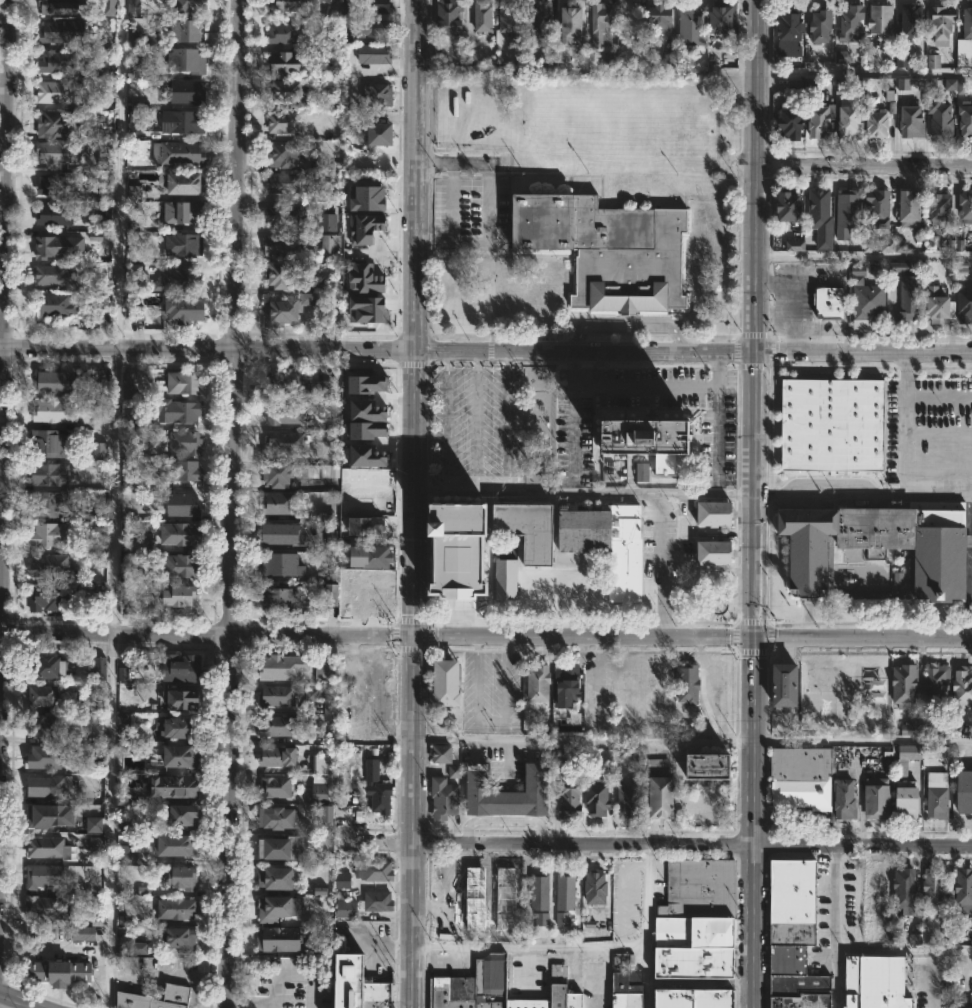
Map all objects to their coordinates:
building: (290, 5)
building: (63, 6)
building: (133, 6)
building: (189, 6)
building: (374, 6)
building: (110, 7)
building: (484, 17)
building: (511, 18)
building: (660, 18)
building: (541, 19)
building: (724, 19)
building: (882, 19)
building: (450, 20)
building: (853, 22)
building: (943, 22)
building: (572, 23)
building: (912, 23)
building: (968, 23)
building: (693, 26)
building: (821, 26)
building: (371, 27)
building: (790, 29)
building: (185, 30)
building: (63, 31)
building: (604, 31)
building: (283, 32)
building: (133, 37)
building: (374, 53)
building: (963, 53)
building: (668, 60)
building: (56, 61)
building: (186, 61)
building: (550, 61)
building: (932, 61)
building: (283, 64)
building: (136, 71)
road: (864, 73)
building: (795, 85)
building: (955, 85)
building: (842, 87)
building: (59, 91)
building: (288, 91)
building: (186, 92)
building: (379, 94)
building: (134, 117)
building: (822, 119)
building: (967, 119)
building: (942, 120)
building: (792, 121)
building: (913, 121)
building: (186, 122)
building: (284, 122)
building: (851, 122)
building: (56, 123)
building: (879, 124)
building: (382, 134)
building: (58, 153)
building: (179, 153)
building: (282, 155)
building: (104, 160)
road: (864, 167)
road: (118, 174)
building: (182, 183)
building: (55, 184)
building: (287, 184)
building: (134, 192)
building: (378, 193)
building: (821, 206)
building: (792, 207)
building: (853, 207)
building: (881, 208)
building: (911, 208)
building: (966, 209)
building: (941, 210)
building: (183, 212)
building: (56, 214)
building: (283, 214)
building: (327, 222)
road: (486, 224)
building: (364, 228)
building: (330, 243)
building: (184, 244)
building: (794, 245)
building: (886, 245)
building: (59, 246)
building: (283, 246)
building: (605, 249)
road: (864, 256)
building: (136, 271)
building: (53, 275)
building: (280, 275)
building: (179, 277)
building: (363, 278)
building: (322, 285)
building: (906, 291)
road: (5, 293)
building: (308, 299)
building: (866, 299)
building: (831, 303)
building: (58, 305)
building: (965, 305)
building: (941, 306)
building: (367, 309)
building: (186, 310)
building: (135, 311)
building: (281, 312)
road: (234, 317)
road: (414, 317)
road: (755, 318)
road: (626, 326)
road: (486, 350)
building: (55, 382)
building: (185, 383)
building: (367, 384)
building: (286, 385)
building: (128, 386)
road: (646, 388)
building: (322, 389)
building: (539, 399)
building: (181, 411)
building: (53, 412)
building: (99, 413)
building: (284, 413)
building: (366, 420)
road: (445, 421)
road: (476, 421)
road: (506, 421)
building: (830, 425)
road: (572, 429)
road: (715, 433)
building: (646, 441)
building: (185, 442)
building: (48, 444)
building: (284, 444)
road: (899, 449)
building: (98, 450)
building: (365, 456)
building: (180, 470)
building: (641, 472)
building: (297, 473)
building: (52, 475)
road: (114, 491)
road: (584, 492)
road: (863, 497)
building: (52, 503)
building: (279, 504)
building: (184, 505)
building: (711, 514)
building: (365, 526)
building: (526, 529)
building: (181, 534)
building: (54, 535)
building: (284, 535)
building: (606, 542)
building: (875, 545)
building: (453, 549)
building: (711, 553)
building: (372, 558)
building: (98, 560)
road: (661, 565)
building: (50, 566)
building: (282, 566)
building: (173, 569)
building: (503, 578)
building: (897, 578)
building: (545, 585)
building: (330, 595)
building: (182, 597)
building: (49, 598)
building: (279, 599)
traffic signals: (414, 636)
road: (486, 636)
traffic signals: (751, 637)
building: (48, 665)
building: (98, 666)
building: (283, 666)
building: (181, 667)
building: (324, 669)
building: (122, 674)
road: (599, 678)
building: (539, 683)
building: (569, 684)
building: (689, 684)
building: (939, 684)
building: (448, 685)
building: (906, 685)
building: (783, 686)
building: (963, 686)
building: (279, 694)
building: (309, 695)
building: (43, 696)
building: (184, 698)
building: (328, 706)
road: (492, 720)
building: (913, 725)
building: (279, 726)
building: (44, 728)
building: (181, 729)
road: (860, 740)
road: (414, 741)
road: (582, 741)
building: (278, 755)
building: (47, 756)
building: (182, 756)
building: (443, 757)
building: (908, 758)
building: (712, 763)
building: (320, 764)
building: (655, 767)
building: (454, 772)
building: (802, 778)
building: (50, 786)
building: (276, 786)
building: (175, 787)
building: (378, 787)
building: (320, 789)
building: (966, 791)
building: (509, 794)
building: (665, 796)
building: (878, 797)
building: (445, 798)
building: (598, 798)
building: (846, 798)
building: (122, 799)
building: (571, 800)
building: (909, 800)
building: (629, 801)
building: (941, 802)
building: (49, 814)
building: (327, 814)
building: (183, 815)
building: (278, 819)
road: (108, 820)
road: (226, 821)
road: (750, 822)
building: (93, 825)
building: (96, 843)
road: (377, 843)
building: (175, 844)
building: (48, 847)
building: (282, 847)
road: (693, 848)
building: (125, 853)
building: (375, 870)
building: (44, 876)
building: (277, 877)
building: (182, 878)
building: (447, 878)
building: (342, 880)
building: (474, 884)
building: (935, 886)
building: (597, 887)
building: (853, 887)
building: (507, 888)
building: (876, 888)
building: (906, 889)
building: (965, 890)
building: (541, 891)
building: (567, 891)
building: (379, 900)
building: (346, 905)
building: (46, 907)
building: (278, 907)
building: (177, 908)
building: (562, 918)
building: (541, 919)
building: (697, 919)
building: (447, 926)
road: (413, 927)
road: (835, 927)
building: (82, 933)
building: (796, 936)
building: (180, 938)
building: (280, 938)
building: (131, 945)
road: (578, 946)
road: (904, 950)
road: (53, 952)
building: (60, 972)
road: (167, 976)
road: (596, 977)
road: (647, 977)
building: (875, 982)
road: (274, 983)
building: (362, 984)
building: (474, 985)
road: (932, 985)
building: (565, 989)
building: (625, 989)
building: (177, 995)
building: (693, 998)
road: (17, 1002)

